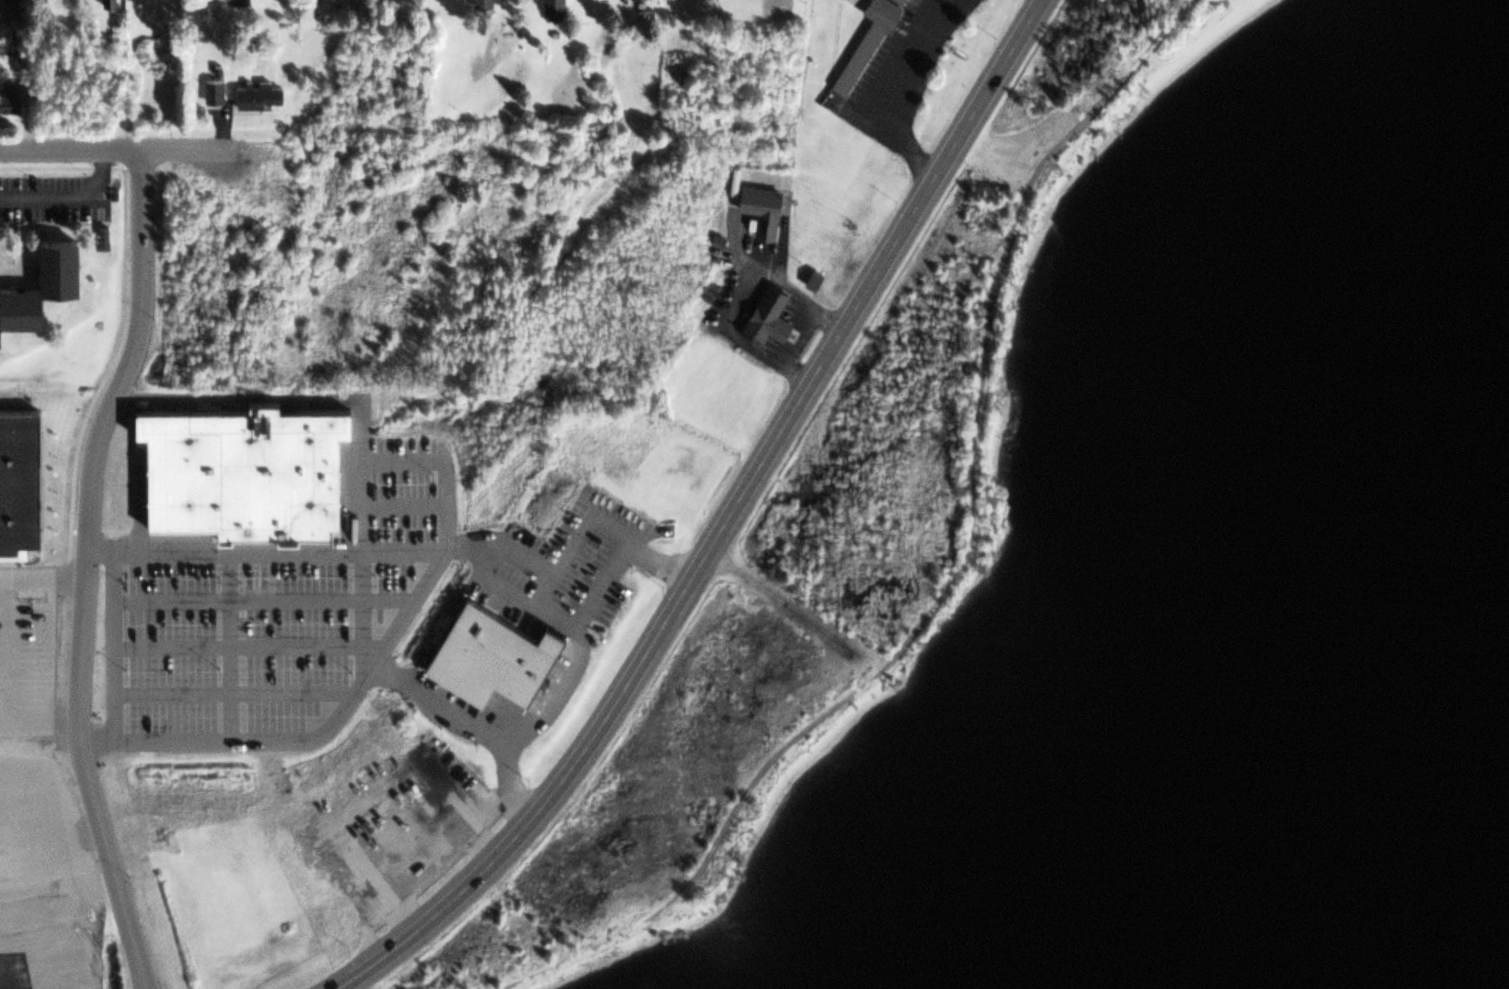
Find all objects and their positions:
building: (237, 1)
building: (109, 2)
building: (16, 3)
building: (479, 6)
building: (553, 9)
building: (867, 39)
building: (18, 61)
road: (890, 90)
building: (212, 91)
building: (258, 95)
building: (7, 97)
road: (121, 149)
road: (67, 198)
building: (759, 207)
building: (42, 265)
building: (812, 278)
building: (768, 314)
road: (426, 460)
building: (245, 469)
building: (19, 481)
road: (400, 502)
park: (983, 519)
road: (720, 524)
road: (963, 563)
road: (81, 568)
road: (40, 580)
road: (260, 600)
road: (789, 611)
parking lot: (278, 620)
building: (523, 621)
road: (360, 633)
road: (235, 644)
road: (110, 645)
road: (226, 645)
building: (501, 648)
parking lot: (26, 649)
road: (46, 650)
road: (7, 651)
road: (576, 656)
road: (230, 693)
road: (36, 721)
building: (357, 749)
building: (344, 765)
building: (411, 836)

